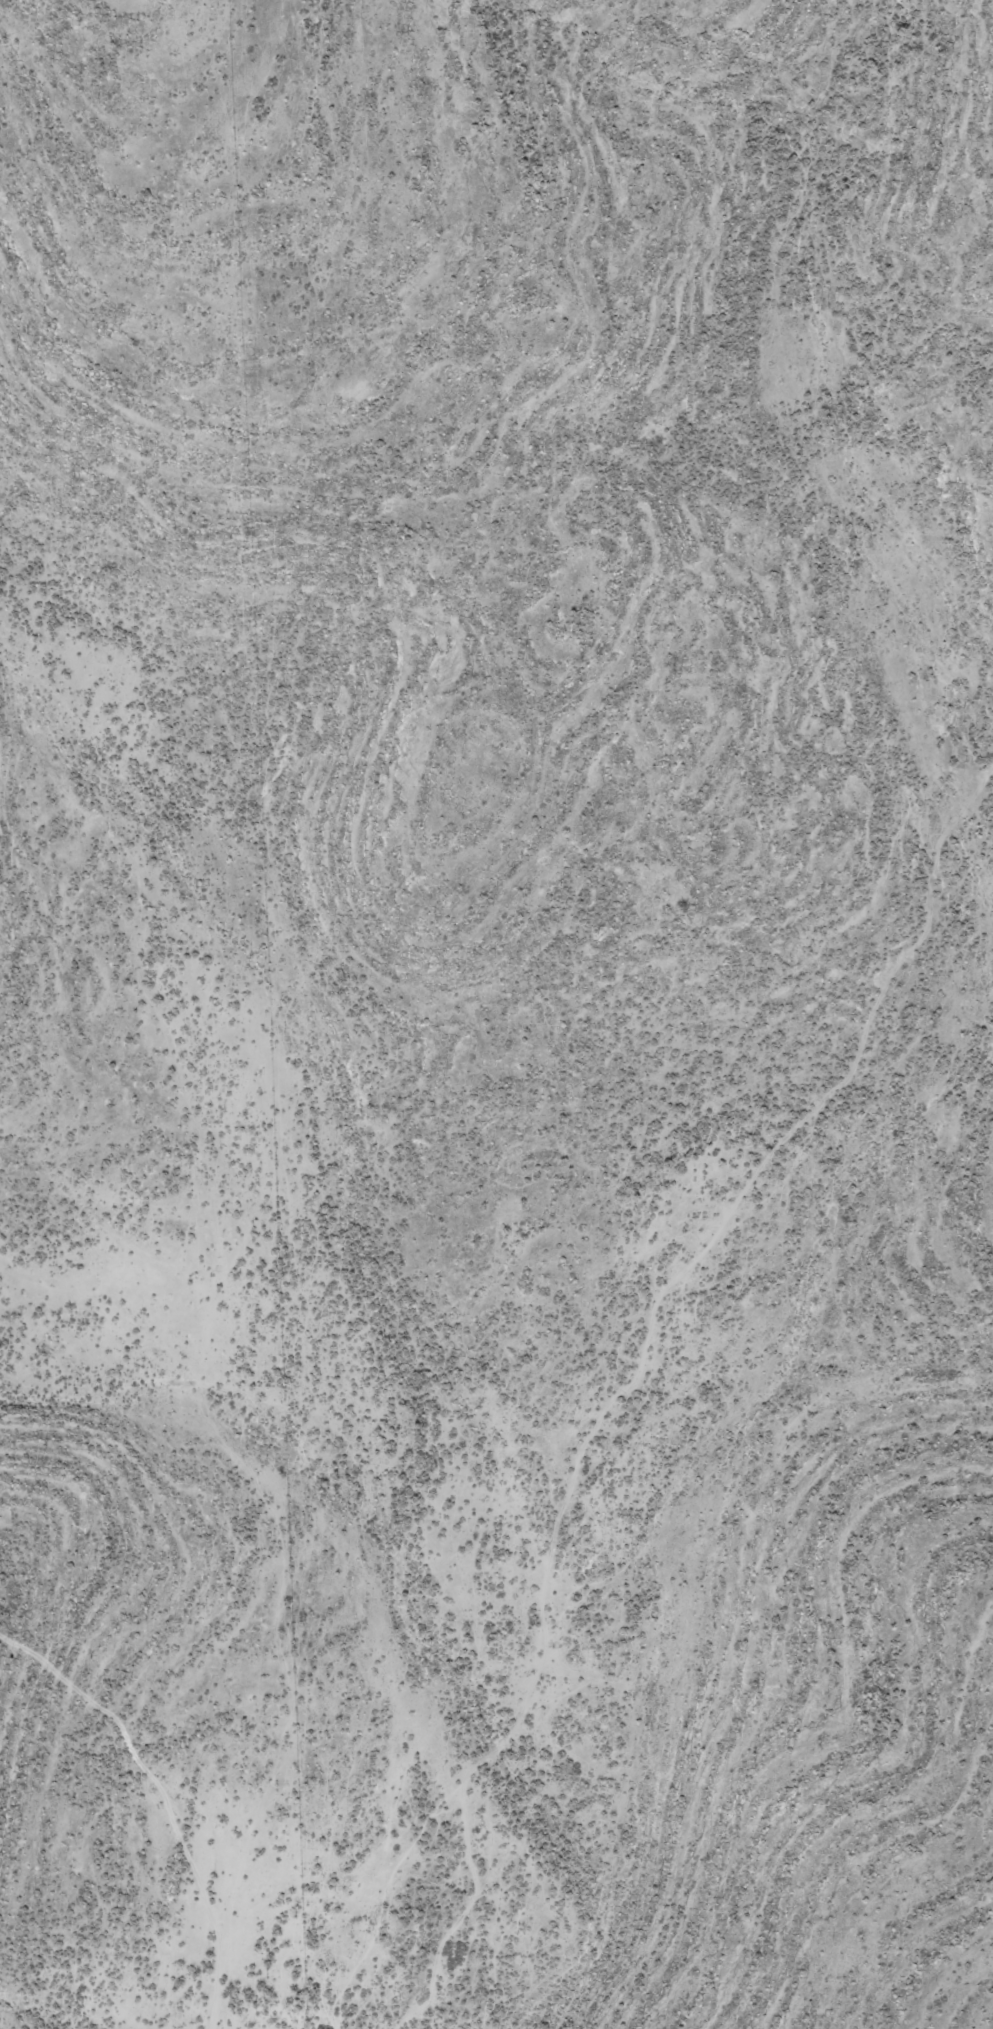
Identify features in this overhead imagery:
road: (167, 1799)

